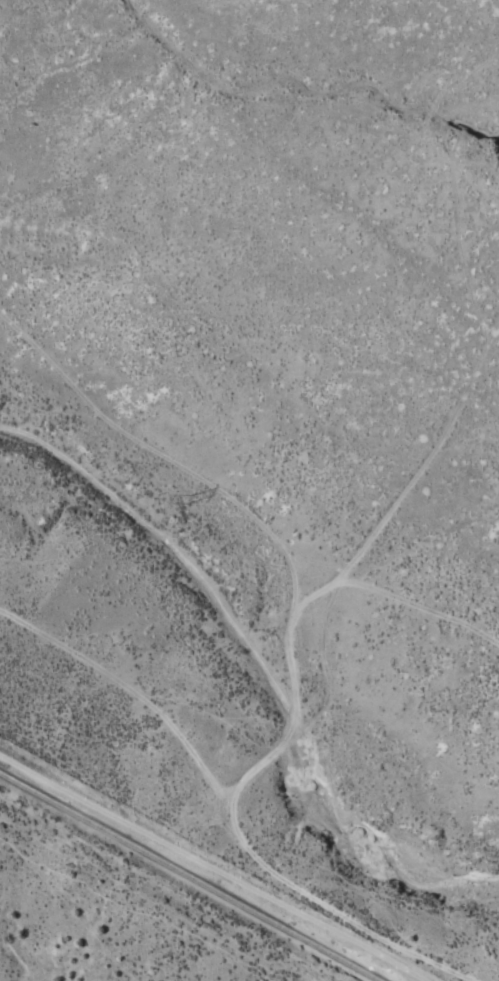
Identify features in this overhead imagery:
road: (222, 814)
railway: (189, 878)
road: (493, 970)

